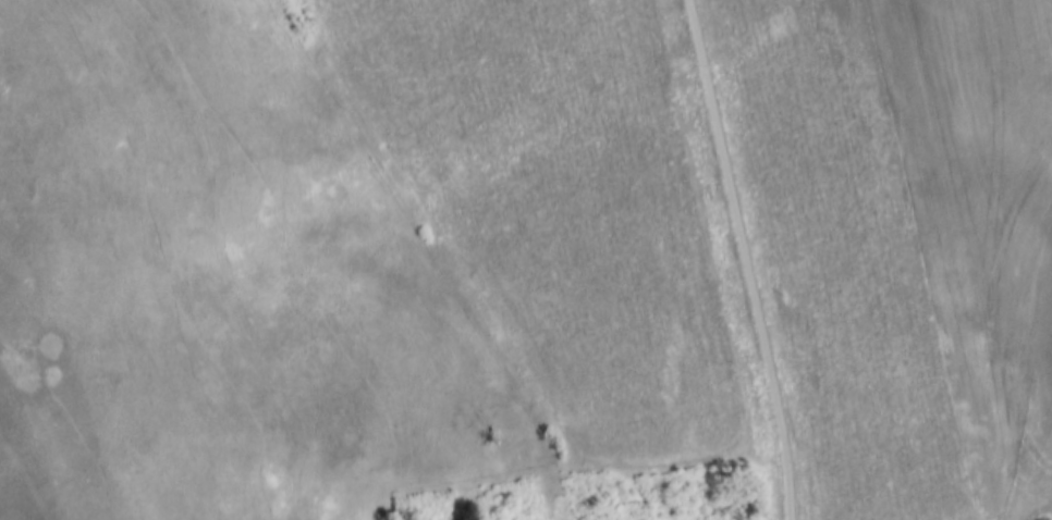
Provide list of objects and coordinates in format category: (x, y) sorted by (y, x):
road: (746, 259)
road: (1032, 485)

